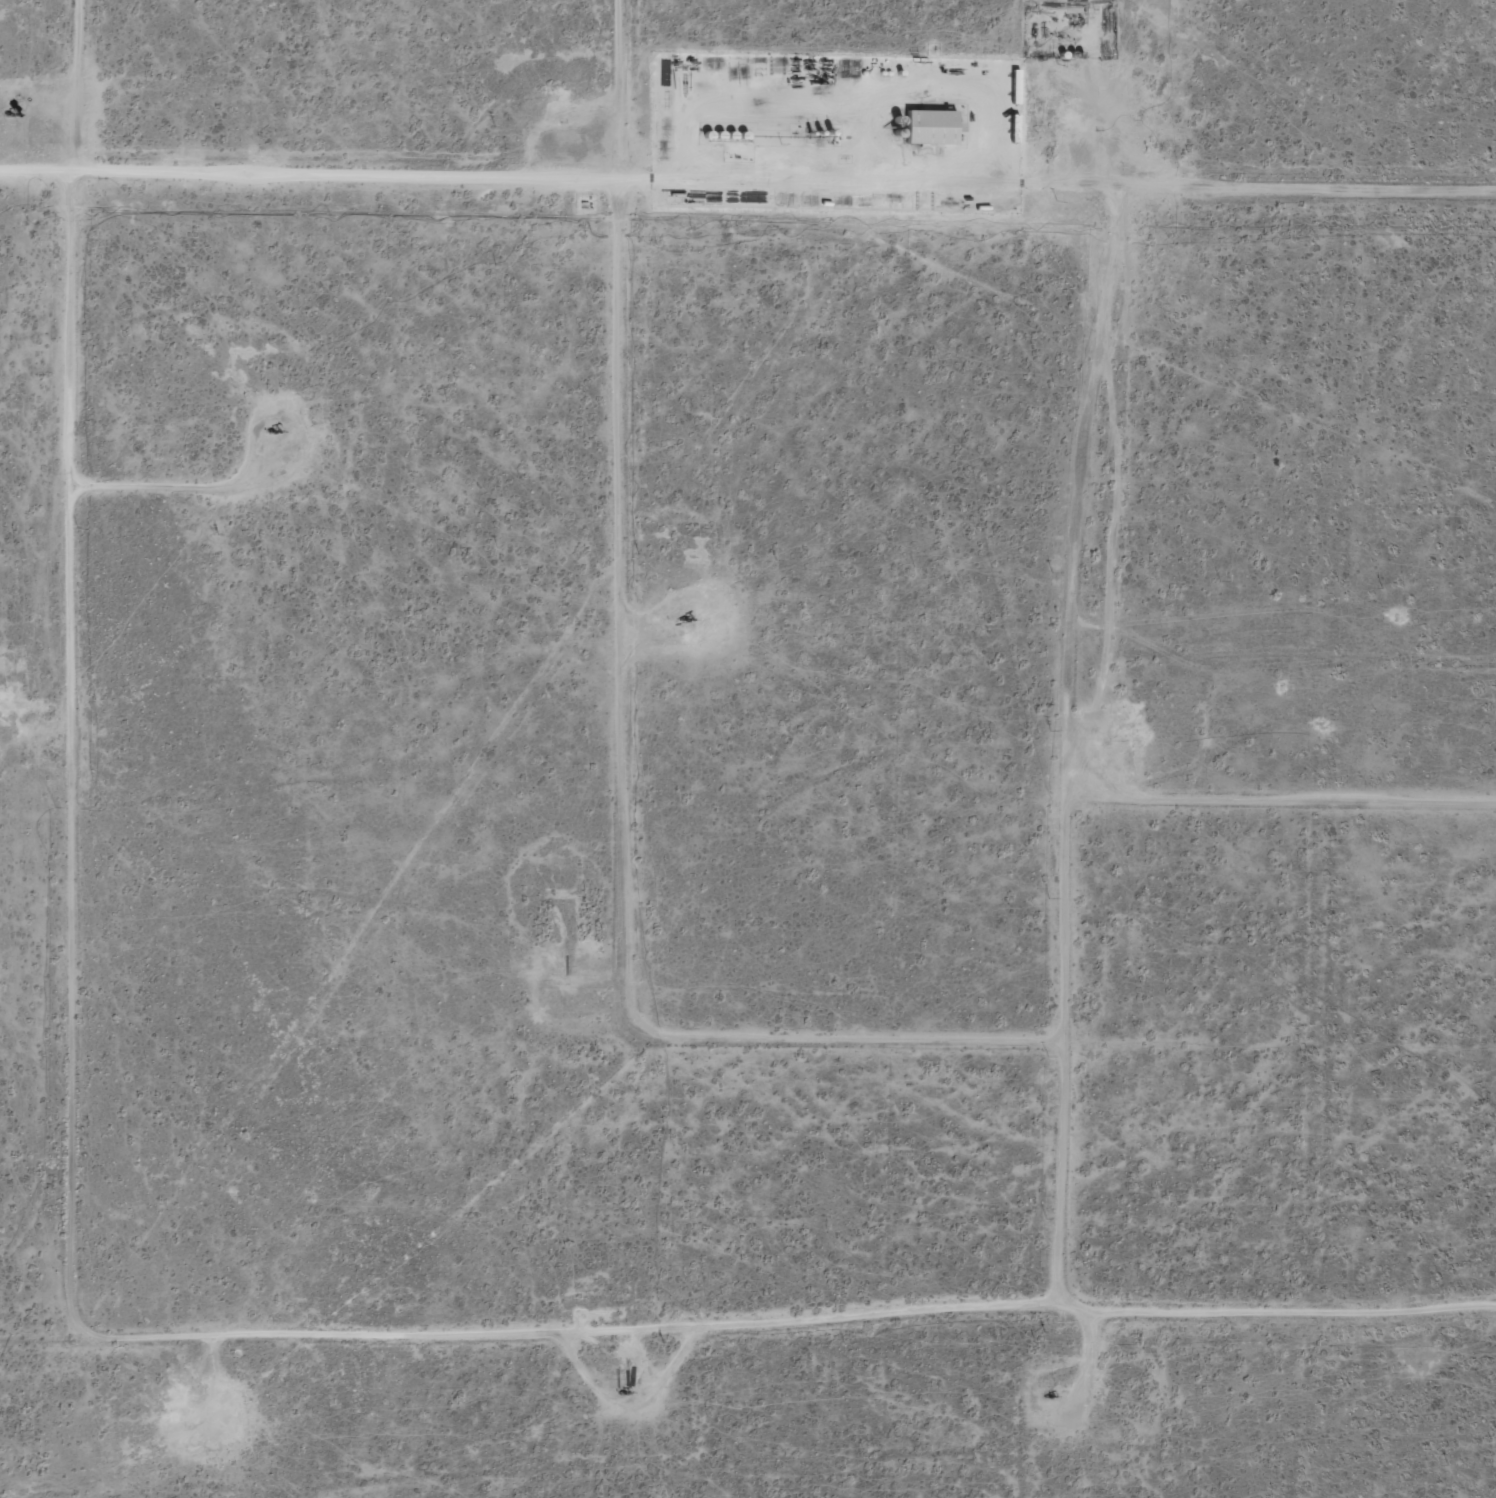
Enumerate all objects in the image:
road: (843, 91)
building: (930, 126)
road: (324, 176)
road: (836, 187)

